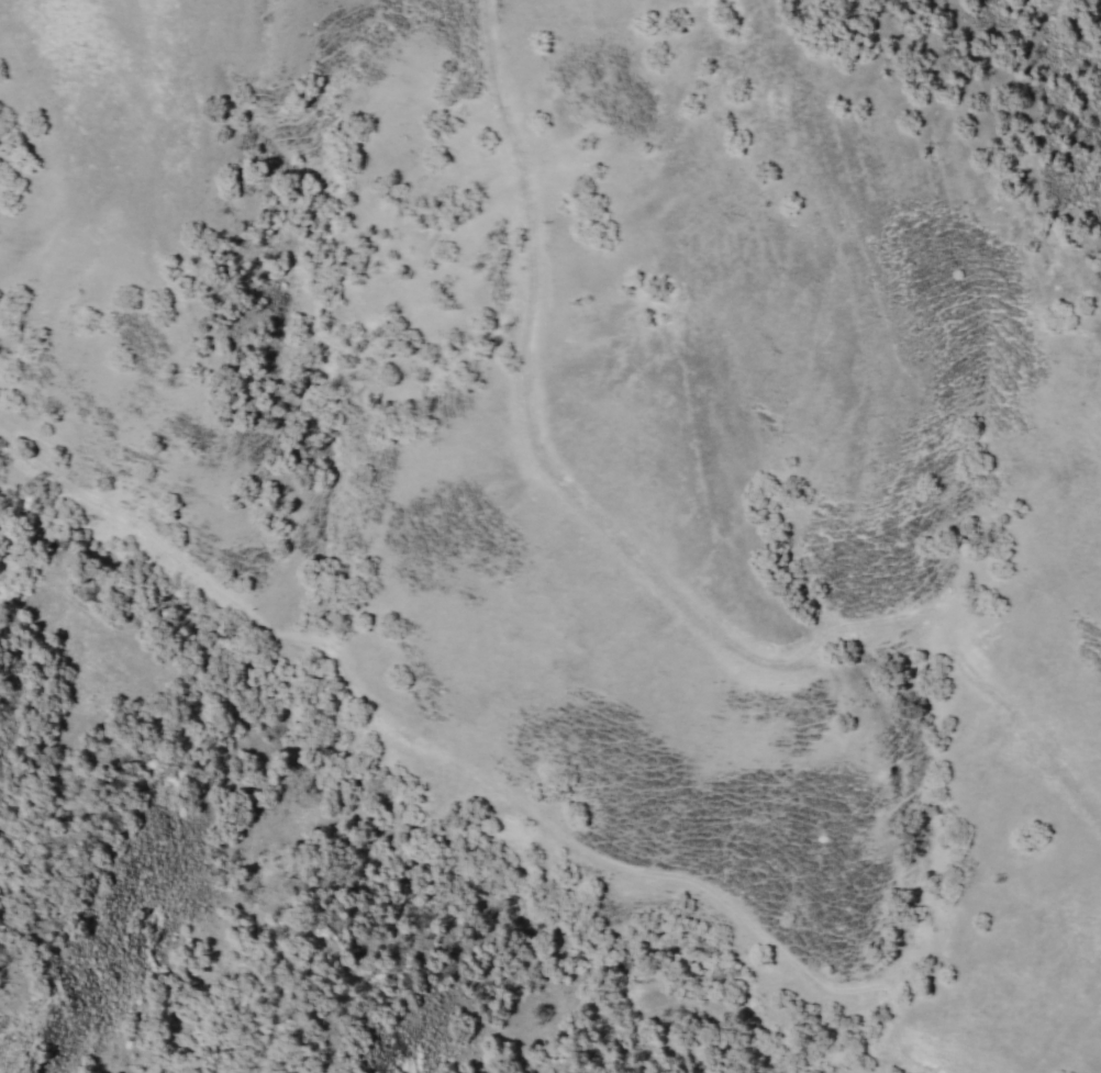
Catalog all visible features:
road: (637, 554)

